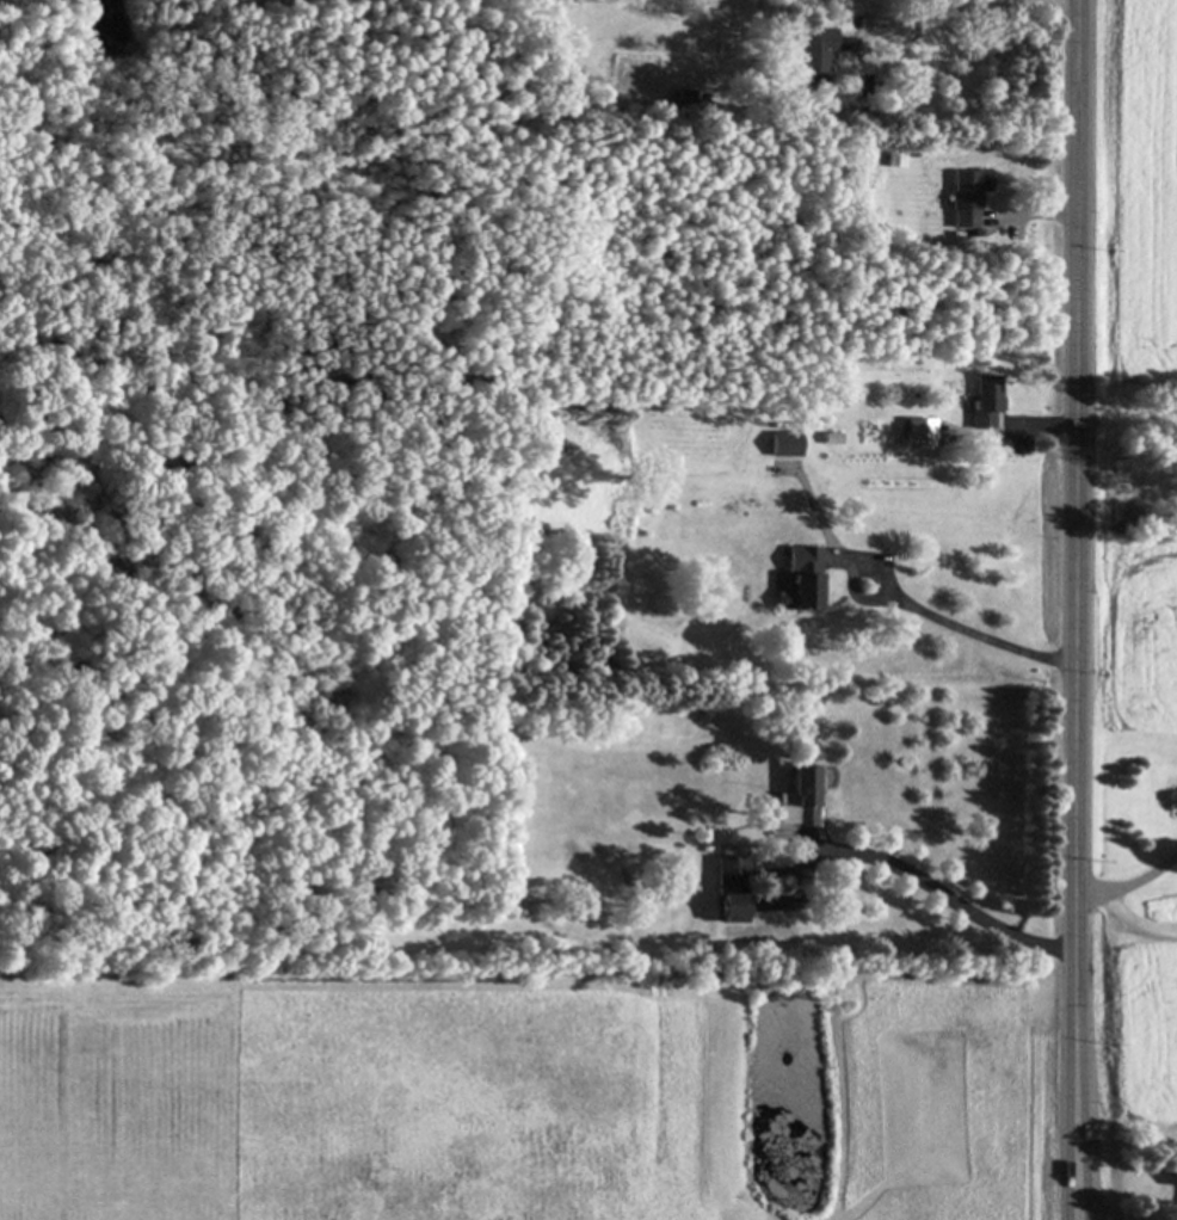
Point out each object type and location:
road: (949, 16)
building: (813, 56)
building: (680, 100)
building: (966, 198)
building: (984, 401)
building: (917, 435)
building: (784, 445)
building: (800, 581)
road: (1076, 605)
road: (974, 629)
building: (795, 800)
road: (1129, 883)
building: (727, 892)
road: (944, 900)
road: (1135, 923)
road: (1111, 1212)
road: (1076, 1215)
road: (1078, 1215)

